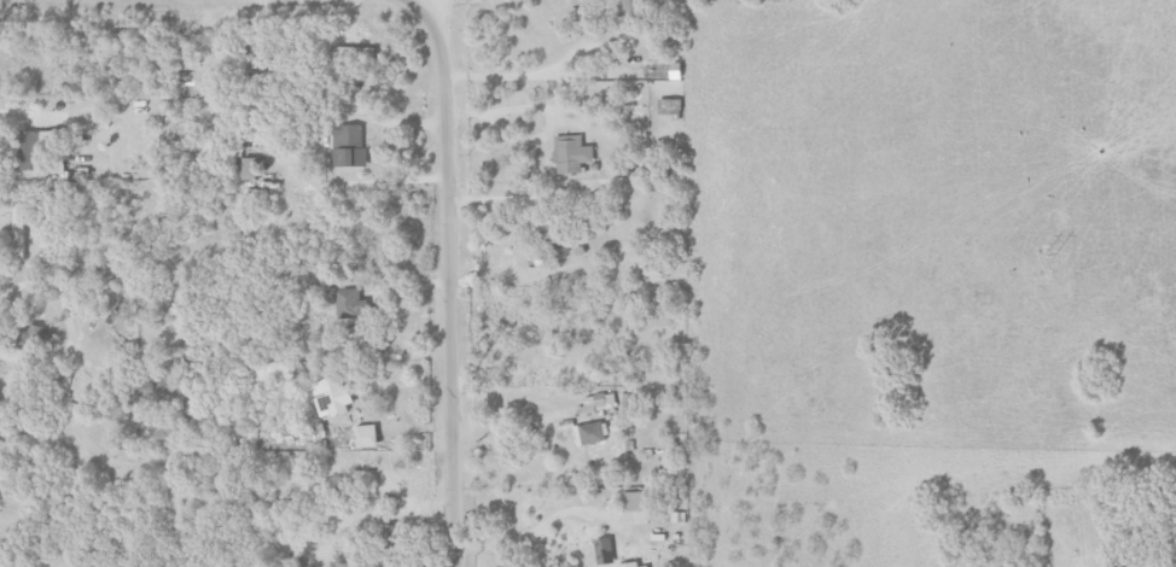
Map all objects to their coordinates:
road: (421, 2)
building: (634, 5)
building: (622, 23)
building: (353, 51)
road: (571, 75)
road: (545, 110)
road: (19, 117)
building: (349, 145)
building: (30, 151)
building: (572, 154)
building: (250, 169)
building: (19, 229)
building: (0, 252)
power tower: (1052, 255)
road: (444, 277)
building: (349, 304)
road: (66, 326)
building: (332, 398)
building: (598, 403)
building: (590, 433)
building: (368, 436)
building: (636, 508)
road: (536, 527)
building: (606, 551)
building: (639, 565)

